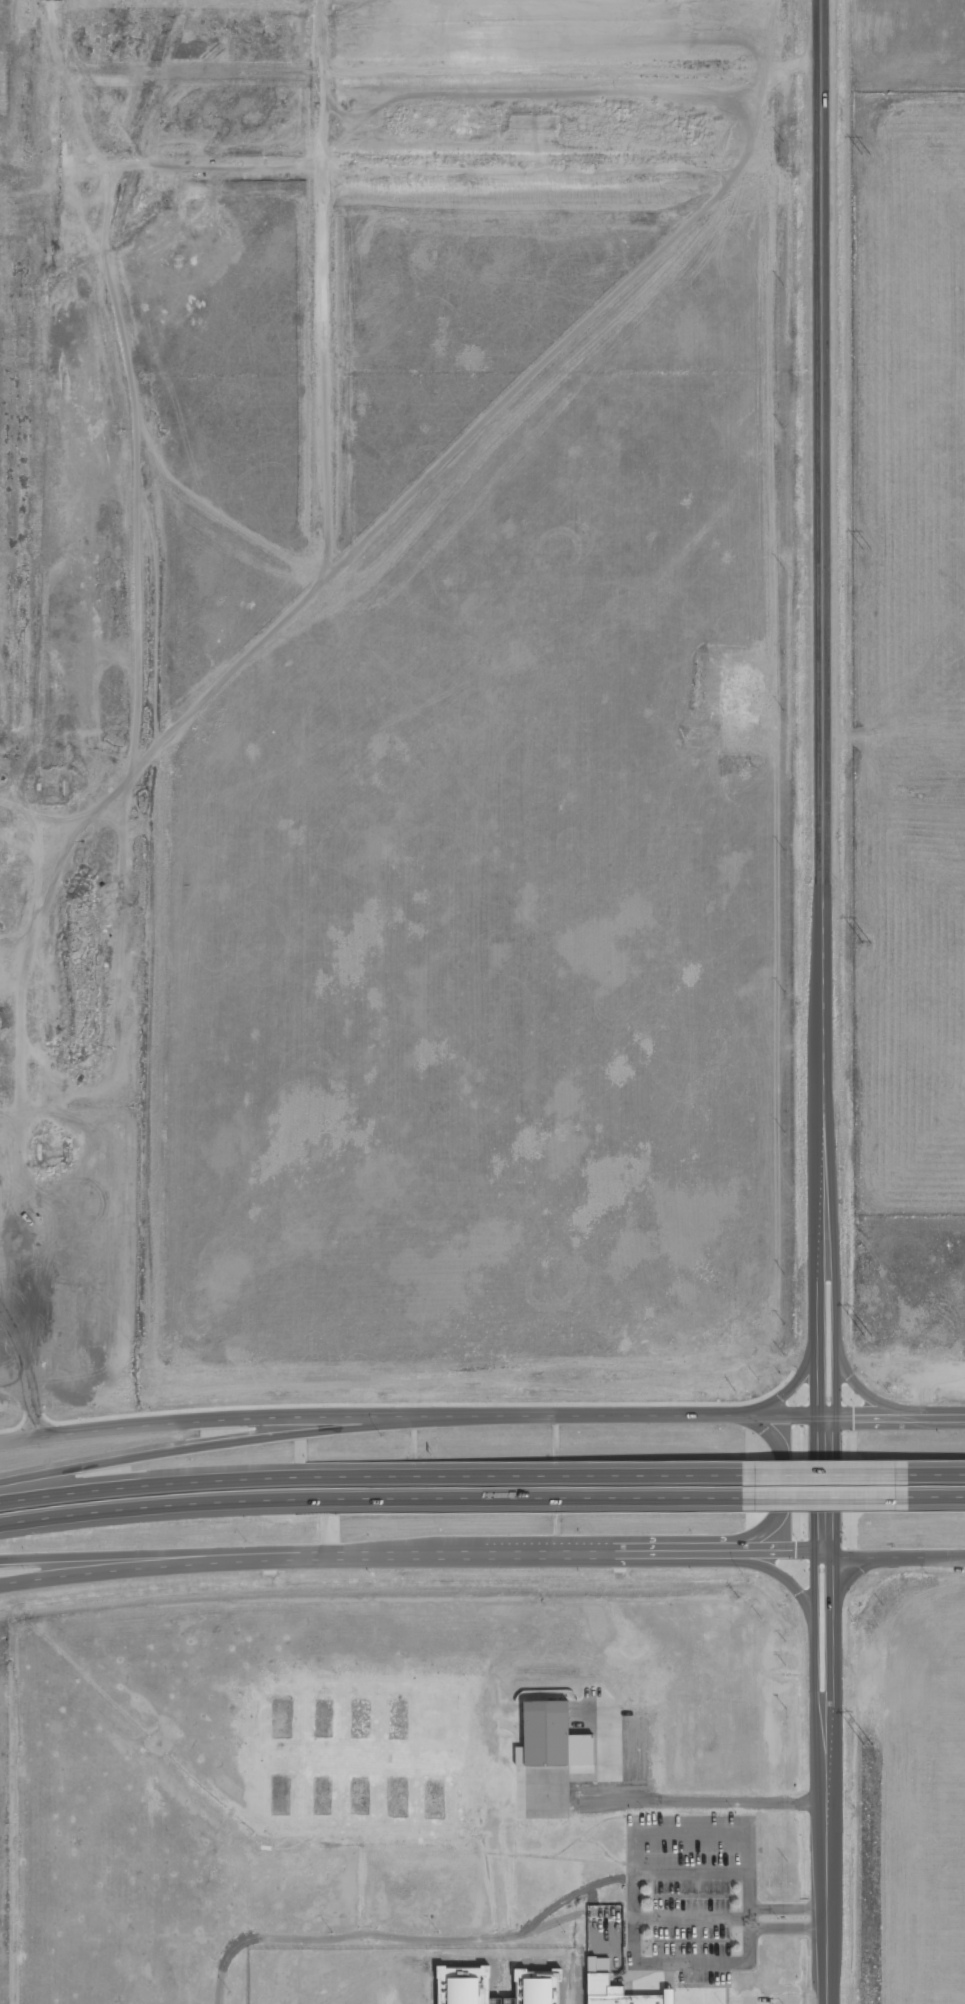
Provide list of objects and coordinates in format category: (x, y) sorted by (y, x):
power tower: (869, 155)
power tower: (869, 550)
road: (822, 778)
power tower: (870, 945)
power tower: (869, 1336)
road: (481, 1415)
road: (236, 1438)
road: (366, 1468)
road: (817, 1469)
road: (933, 1469)
road: (786, 1485)
road: (365, 1503)
road: (818, 1504)
road: (934, 1505)
road: (481, 1557)
road: (127, 1558)
building: (553, 1738)
power tower: (871, 1746)
road: (825, 1781)
building: (595, 1970)
building: (465, 1985)

